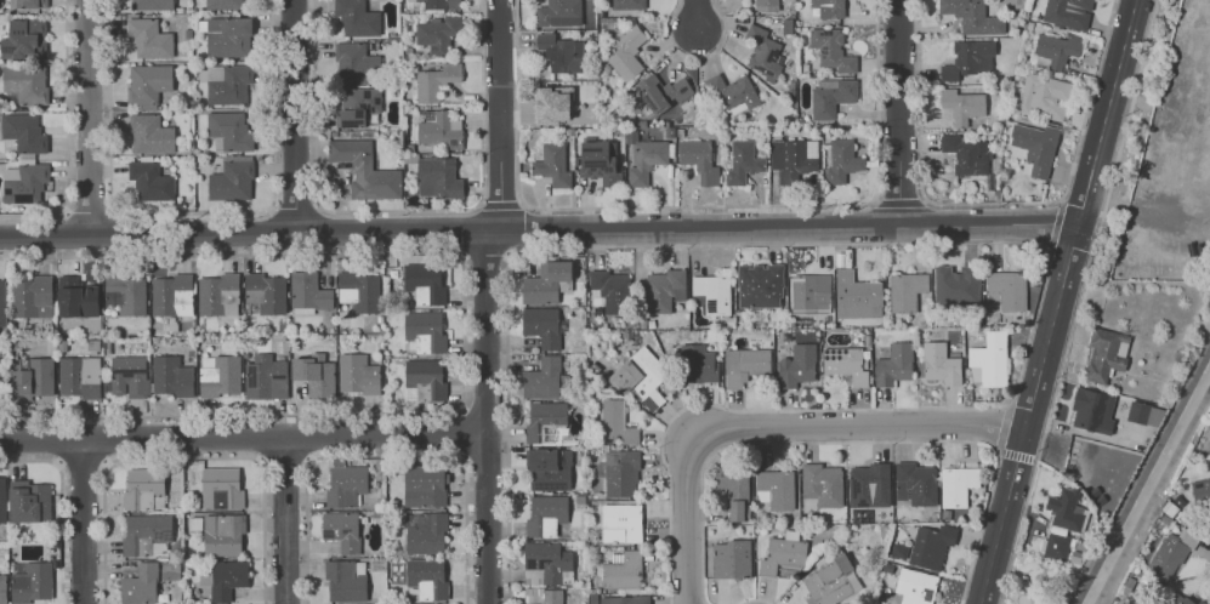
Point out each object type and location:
road: (1134, 0)
building: (28, 4)
building: (441, 4)
building: (626, 4)
building: (152, 5)
building: (225, 5)
building: (766, 5)
building: (829, 7)
building: (180, 10)
building: (557, 12)
building: (1067, 12)
road: (695, 13)
building: (972, 16)
building: (194, 17)
building: (357, 18)
building: (437, 34)
building: (226, 36)
building: (149, 39)
building: (25, 40)
building: (194, 46)
building: (831, 49)
building: (1055, 49)
building: (561, 52)
building: (762, 52)
building: (191, 53)
building: (626, 53)
road: (695, 57)
building: (967, 59)
building: (356, 63)
building: (436, 80)
building: (227, 84)
building: (25, 85)
building: (149, 86)
building: (661, 92)
building: (732, 92)
building: (1043, 95)
building: (830, 96)
building: (552, 103)
building: (960, 104)
building: (360, 107)
road: (901, 113)
road: (292, 115)
road: (90, 118)
building: (229, 131)
building: (439, 131)
building: (23, 135)
building: (150, 135)
road: (67, 138)
road: (272, 142)
road: (110, 144)
building: (1035, 146)
building: (967, 154)
building: (793, 158)
building: (699, 159)
building: (646, 160)
building: (841, 160)
building: (598, 161)
building: (742, 161)
building: (552, 165)
building: (364, 170)
building: (439, 176)
building: (231, 178)
building: (24, 181)
building: (152, 181)
road: (995, 201)
road: (499, 204)
road: (899, 204)
road: (695, 206)
road: (90, 210)
road: (399, 211)
road: (523, 226)
road: (1056, 226)
road: (789, 227)
road: (249, 232)
road: (112, 233)
road: (461, 233)
road: (61, 235)
road: (945, 241)
road: (484, 252)
building: (425, 284)
building: (547, 284)
building: (759, 285)
building: (955, 285)
building: (663, 289)
building: (905, 290)
building: (1006, 290)
building: (610, 291)
building: (359, 292)
building: (809, 292)
building: (711, 294)
building: (265, 295)
building: (308, 295)
building: (856, 295)
building: (125, 296)
building: (174, 296)
building: (218, 296)
building: (33, 298)
building: (2, 300)
road: (488, 300)
building: (75, 301)
road: (1076, 301)
road: (1058, 302)
building: (404, 304)
building: (598, 312)
building: (398, 313)
building: (157, 324)
building: (643, 324)
building: (651, 324)
building: (174, 325)
building: (12, 326)
building: (544, 327)
building: (97, 331)
building: (198, 332)
building: (425, 332)
road: (466, 332)
building: (288, 337)
building: (295, 338)
building: (96, 344)
building: (62, 347)
building: (107, 348)
building: (1104, 353)
building: (988, 360)
building: (845, 363)
building: (939, 363)
building: (697, 364)
building: (893, 364)
building: (744, 365)
building: (796, 365)
building: (593, 367)
building: (316, 375)
building: (358, 375)
building: (220, 376)
building: (80, 377)
building: (127, 377)
building: (172, 377)
building: (4, 378)
building: (266, 378)
building: (641, 378)
building: (33, 380)
building: (546, 380)
building: (425, 382)
building: (1092, 410)
building: (1144, 414)
building: (547, 422)
building: (617, 423)
road: (777, 424)
road: (1001, 424)
road: (462, 434)
road: (244, 435)
road: (856, 440)
road: (387, 455)
road: (1016, 455)
road: (184, 457)
road: (285, 461)
road: (81, 463)
building: (547, 471)
building: (619, 474)
building: (915, 483)
building: (822, 484)
building: (425, 485)
building: (868, 485)
building: (956, 485)
building: (346, 486)
building: (774, 488)
building: (222, 489)
building: (144, 490)
building: (733, 490)
building: (1200, 491)
building: (2, 500)
building: (581, 500)
building: (29, 502)
building: (590, 503)
road: (63, 505)
building: (380, 514)
building: (546, 517)
road: (285, 519)
building: (1062, 520)
road: (84, 522)
building: (197, 524)
building: (621, 524)
building: (342, 531)
building: (426, 532)
building: (147, 535)
building: (223, 536)
building: (930, 545)
building: (782, 552)
building: (1171, 552)
building: (731, 558)
building: (547, 565)
building: (171, 571)
building: (624, 572)
building: (226, 580)
building: (428, 580)
building: (33, 581)
building: (346, 581)
park: (1041, 581)
building: (830, 582)
building: (141, 585)
building: (915, 586)
building: (4, 589)
building: (544, 596)
building: (593, 599)
road: (755, 599)
building: (626, 600)
building: (1191, 600)

